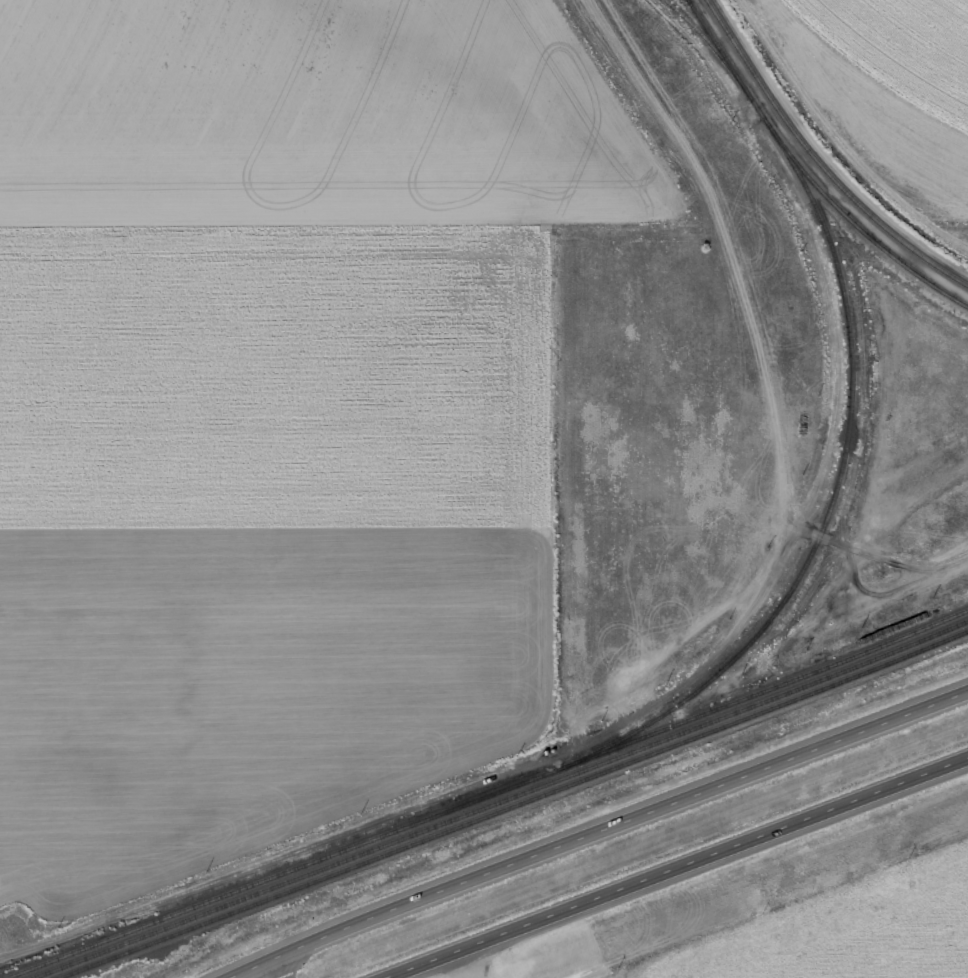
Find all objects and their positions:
railway: (710, 44)
railway: (817, 161)
railway: (804, 174)
railway: (832, 497)
railway: (486, 795)
railway: (499, 800)
railway: (514, 805)
railway: (659, 810)
road: (596, 830)
road: (677, 868)
road: (274, 968)

